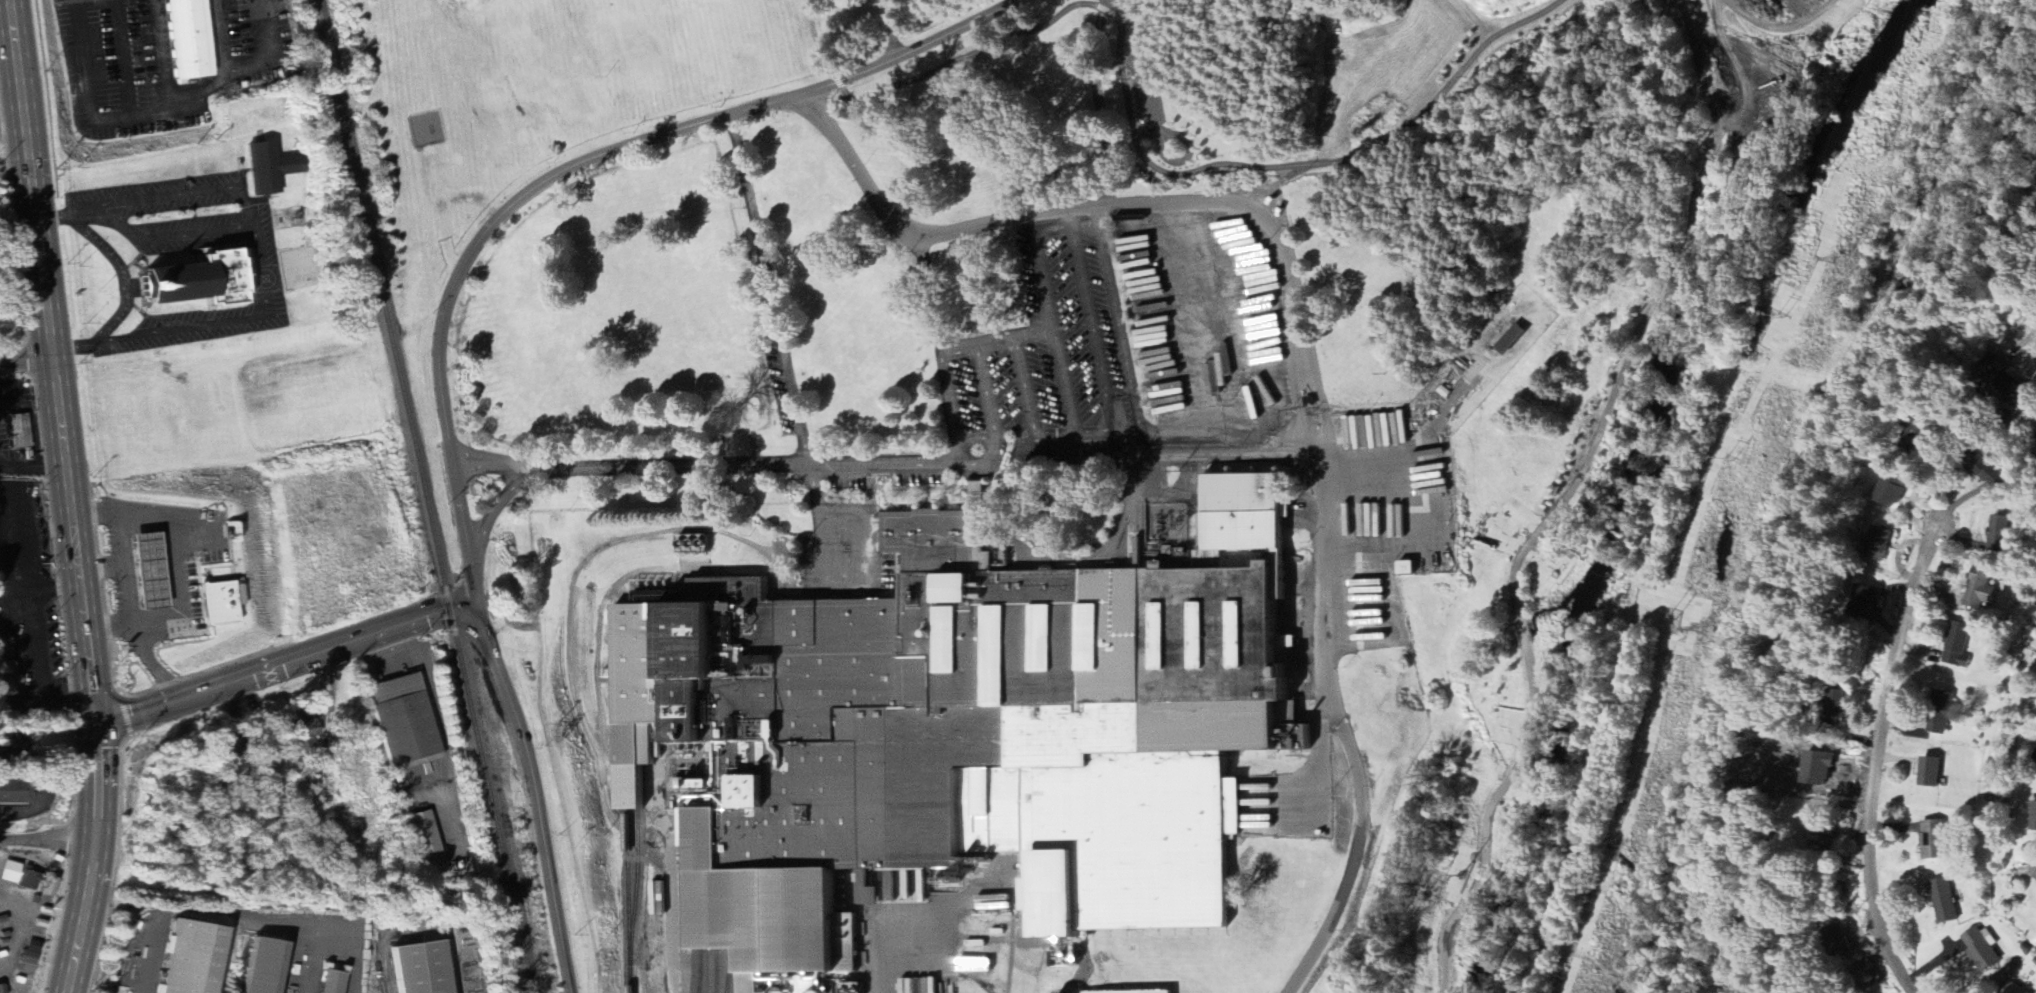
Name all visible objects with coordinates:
road: (897, 28)
road: (1775, 28)
building: (190, 40)
road: (818, 41)
road: (1155, 54)
park: (562, 86)
park: (883, 89)
parking lot: (1146, 97)
road: (1163, 115)
road: (1155, 160)
road: (566, 167)
building: (270, 168)
road: (997, 223)
road: (257, 254)
power tower: (1836, 260)
road: (118, 273)
building: (200, 281)
road: (768, 290)
road: (2020, 316)
road: (1298, 331)
building: (1511, 340)
road: (939, 347)
road: (32, 364)
building: (20, 431)
road: (1240, 456)
road: (499, 462)
road: (893, 464)
road: (675, 469)
building: (1991, 473)
building: (1891, 491)
road: (79, 495)
railway: (425, 495)
park: (1571, 498)
road: (1569, 499)
road: (497, 501)
building: (1999, 534)
building: (1880, 544)
building: (1408, 568)
building: (150, 571)
road: (828, 574)
building: (1981, 591)
building: (1864, 602)
building: (221, 603)
building: (610, 624)
power tower: (1706, 628)
building: (1959, 646)
road: (285, 663)
building: (608, 675)
building: (1837, 705)
building: (1941, 713)
road: (1337, 715)
building: (404, 722)
traffic signals: (98, 723)
building: (299, 734)
road: (1881, 741)
road: (1319, 748)
building: (2035, 768)
building: (1917, 770)
building: (1932, 773)
building: (14, 792)
road: (535, 793)
building: (2035, 819)
building: (1823, 838)
building: (424, 841)
road: (49, 842)
railway: (634, 850)
railway: (624, 857)
building: (9, 872)
building: (28, 879)
building: (1945, 902)
road: (244, 917)
road: (869, 949)
building: (1982, 949)
building: (192, 958)
building: (264, 966)
building: (423, 968)
railway: (698, 969)
railway: (726, 972)
railway: (712, 973)
road: (1299, 977)
building: (330, 980)
building: (1, 989)
building: (1149, 992)

